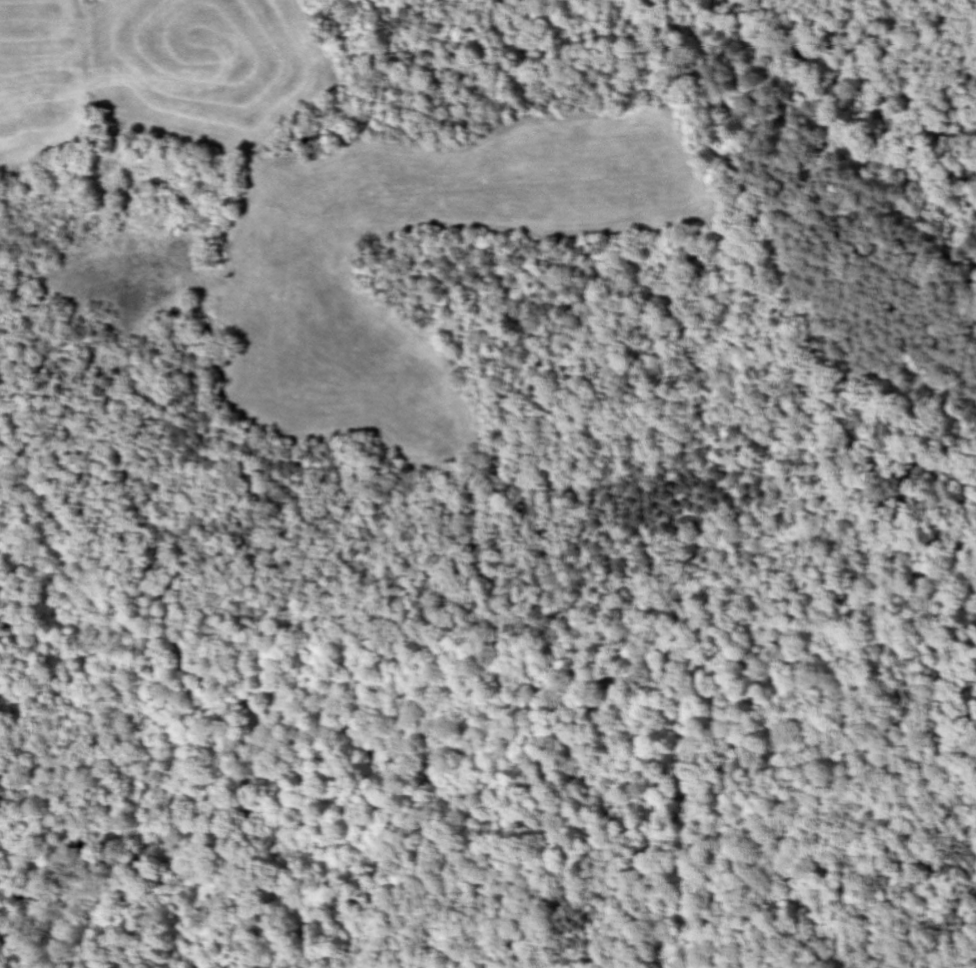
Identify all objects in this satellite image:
road: (89, 31)

